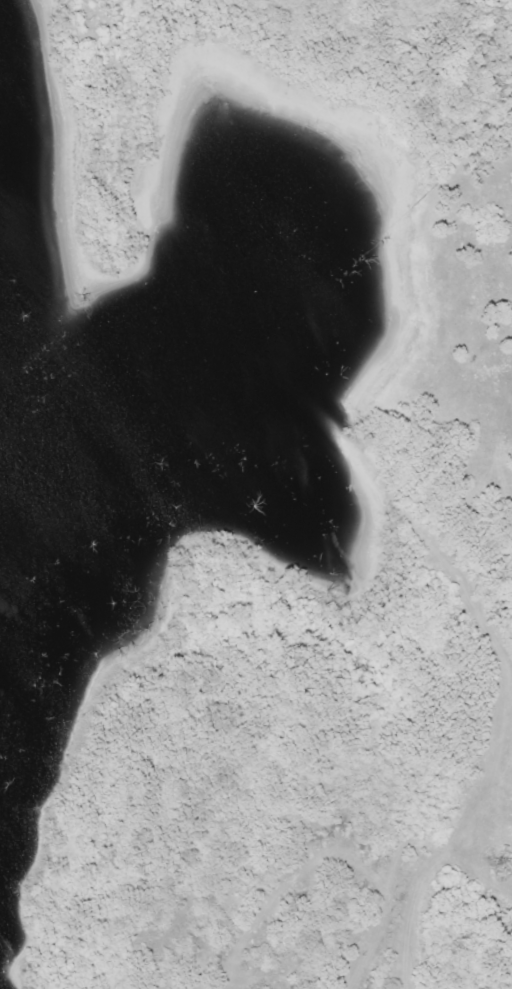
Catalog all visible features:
road: (452, 793)

